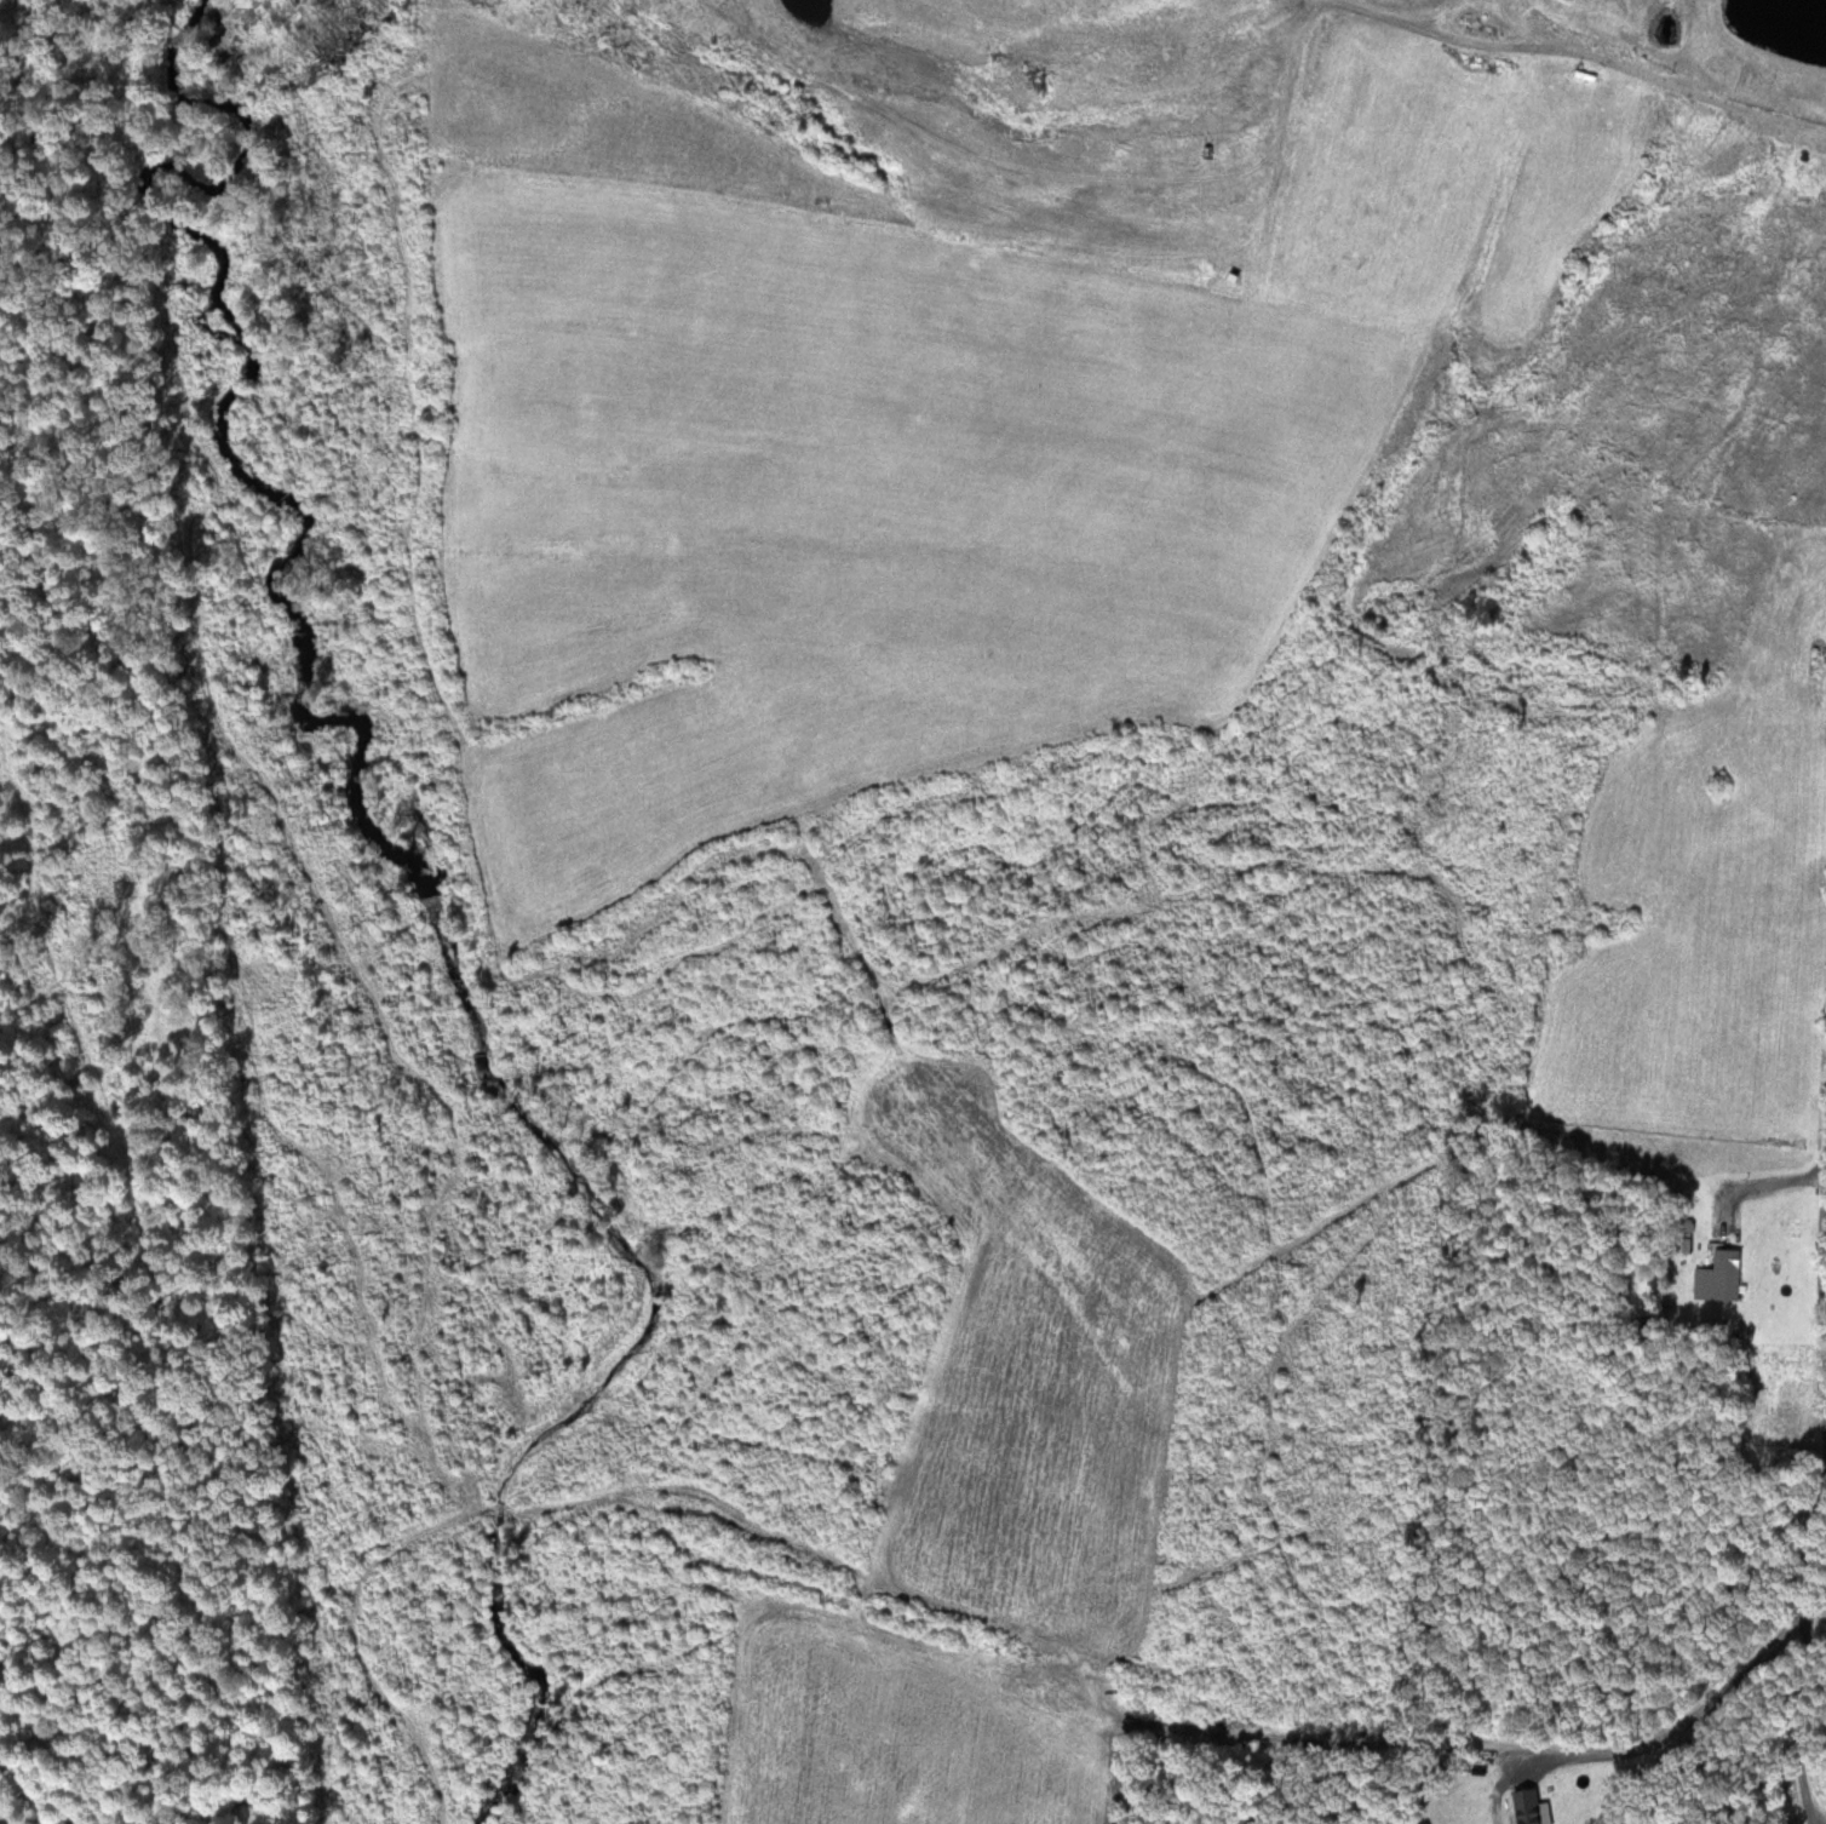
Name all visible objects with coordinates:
building: (1562, 0)
building: (1715, 1275)
road: (1815, 1302)
road: (943, 1625)
building: (1521, 1806)

